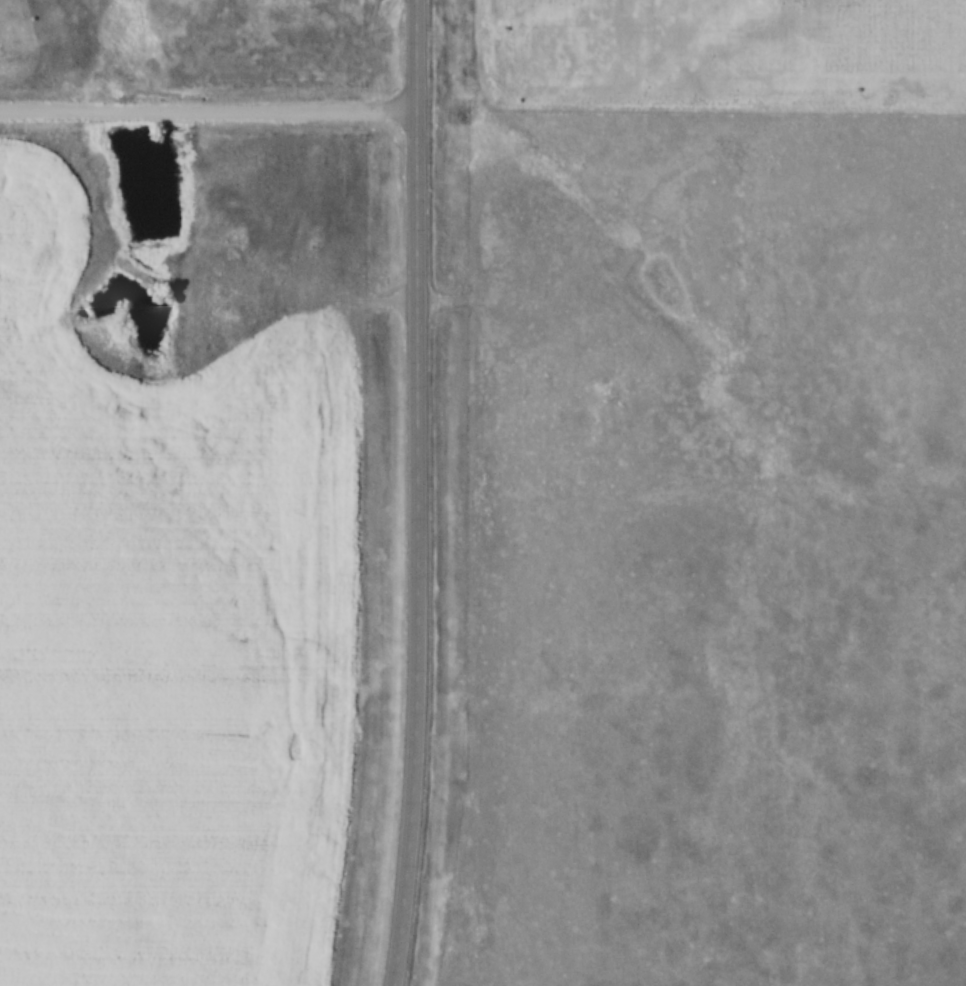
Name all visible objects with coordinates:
road: (204, 98)
road: (409, 493)

